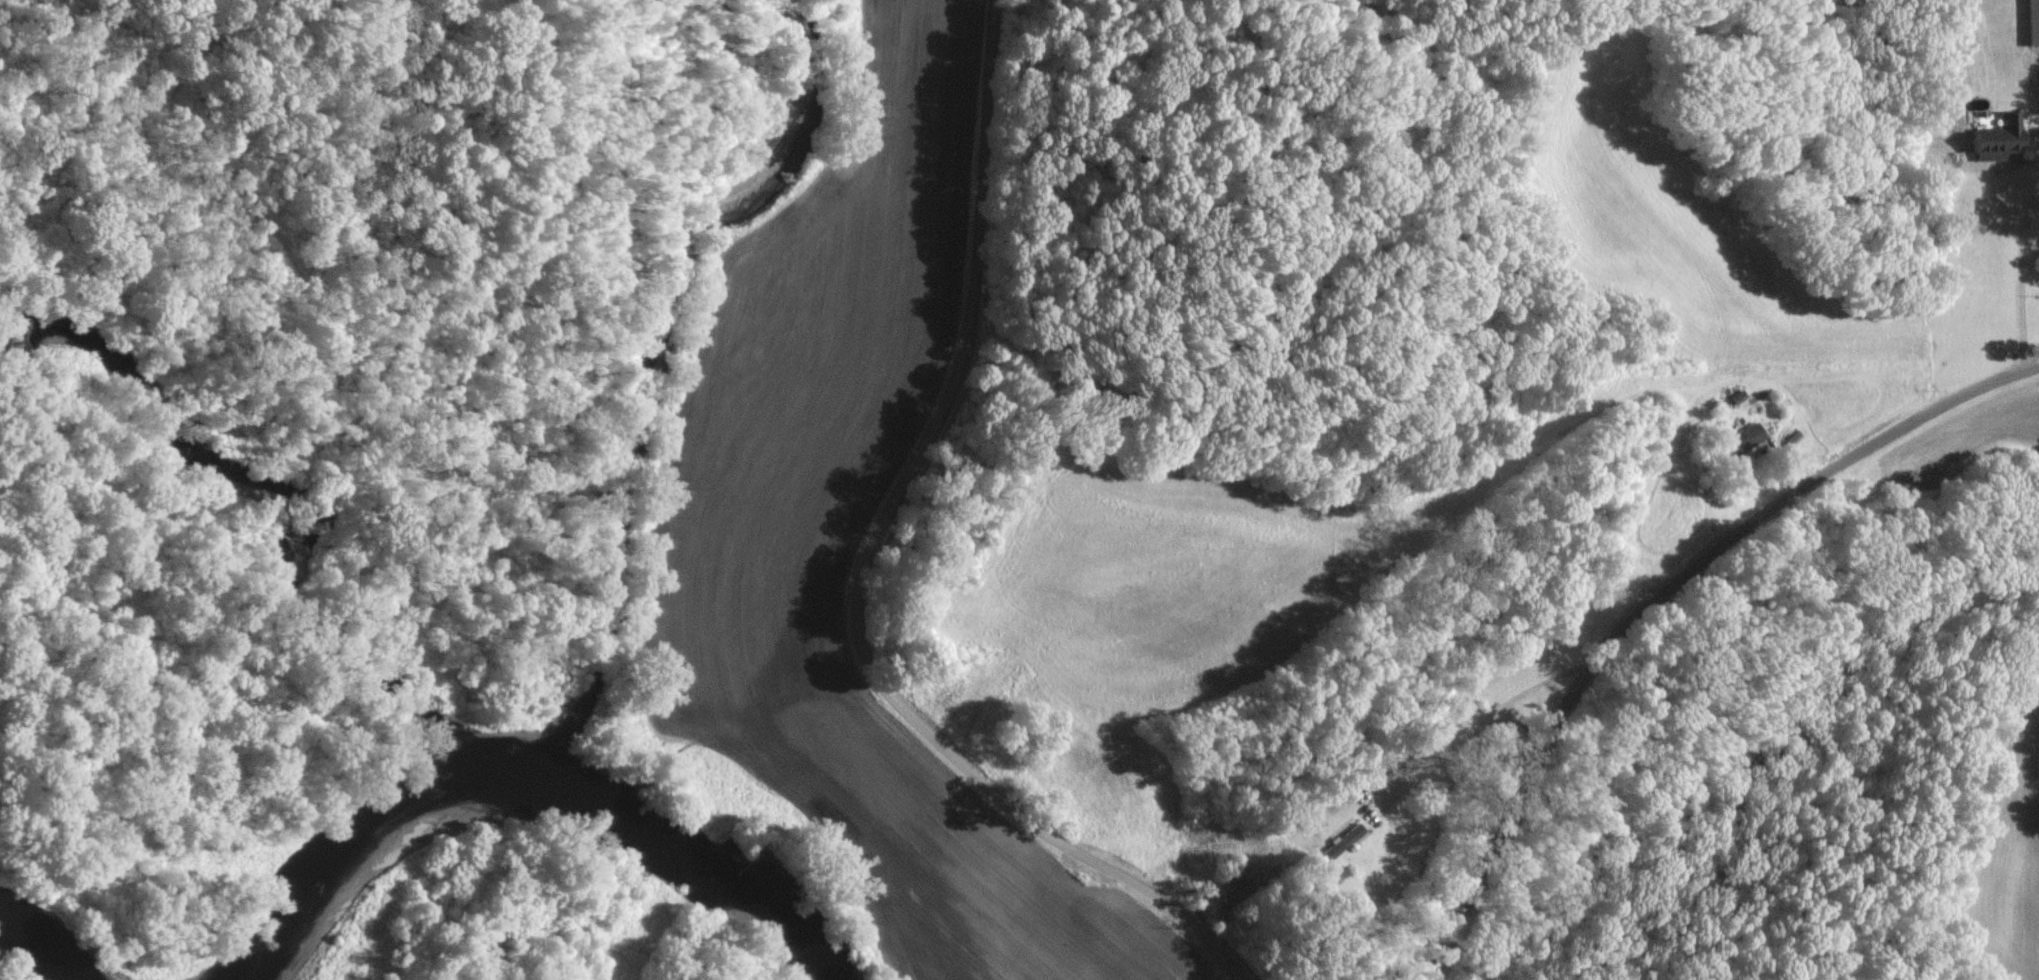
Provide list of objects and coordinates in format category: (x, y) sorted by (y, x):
building: (2032, 22)
road: (2025, 130)
building: (1996, 138)
road: (2014, 259)
building: (1747, 441)
road: (859, 569)
road: (1654, 594)
road: (1441, 746)
river: (543, 795)
building: (1339, 842)
river: (63, 953)

